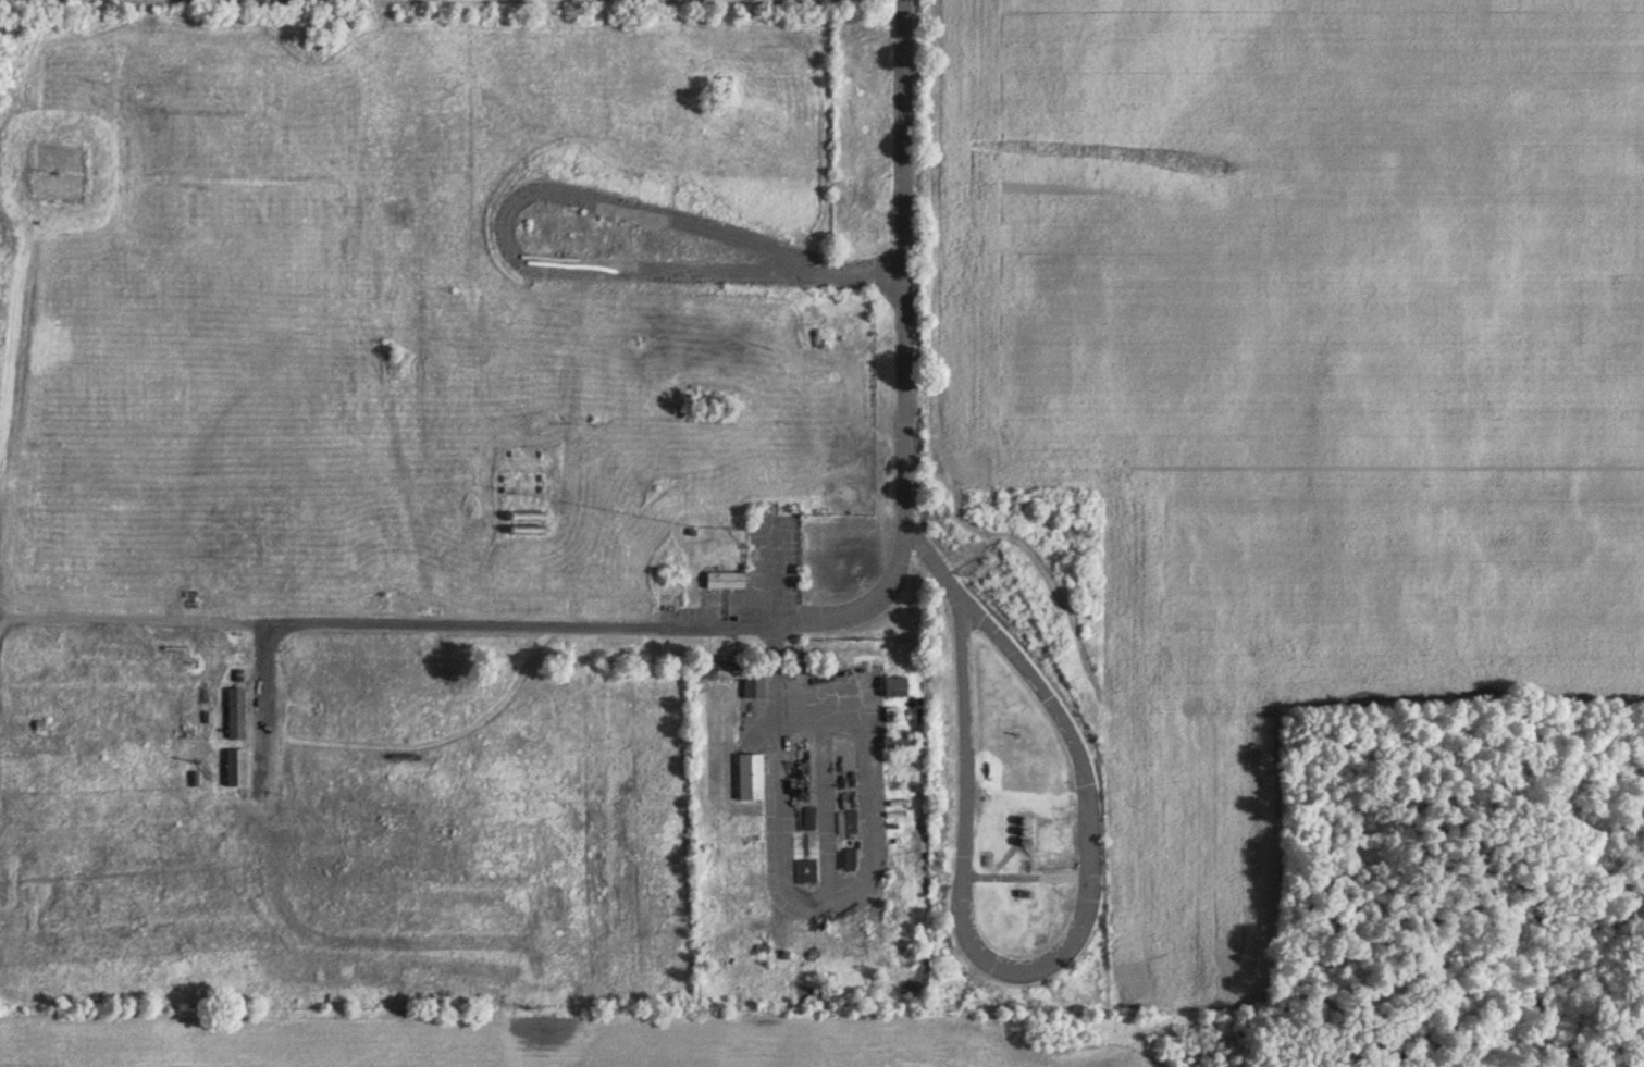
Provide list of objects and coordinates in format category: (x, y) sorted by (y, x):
road: (907, 268)
building: (722, 579)
road: (478, 621)
building: (734, 674)
building: (893, 685)
road: (264, 705)
building: (234, 712)
building: (897, 742)
building: (235, 767)
building: (749, 777)
road: (870, 845)
road: (1071, 942)

